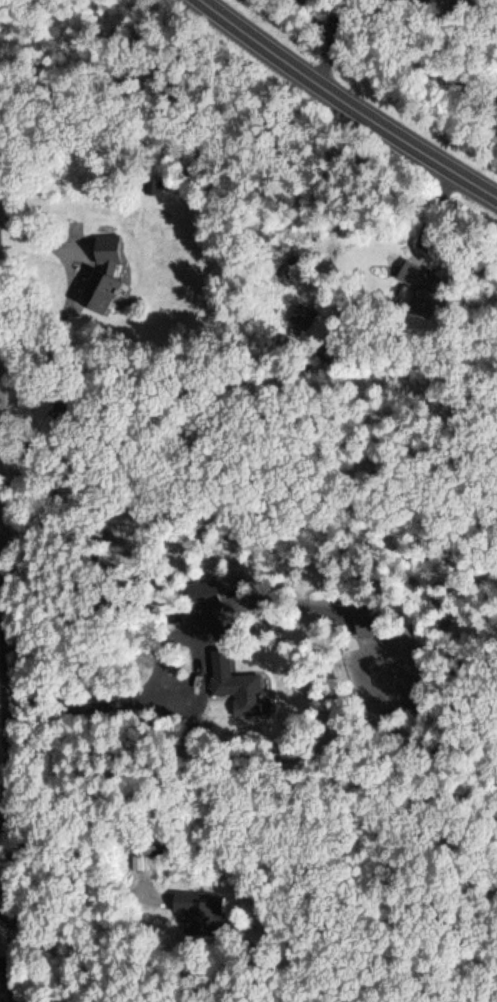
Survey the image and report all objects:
road: (353, 102)
building: (106, 250)
building: (419, 286)
building: (98, 290)
building: (200, 593)
building: (366, 622)
road: (7, 677)
building: (237, 689)
building: (199, 909)
road: (8, 910)

